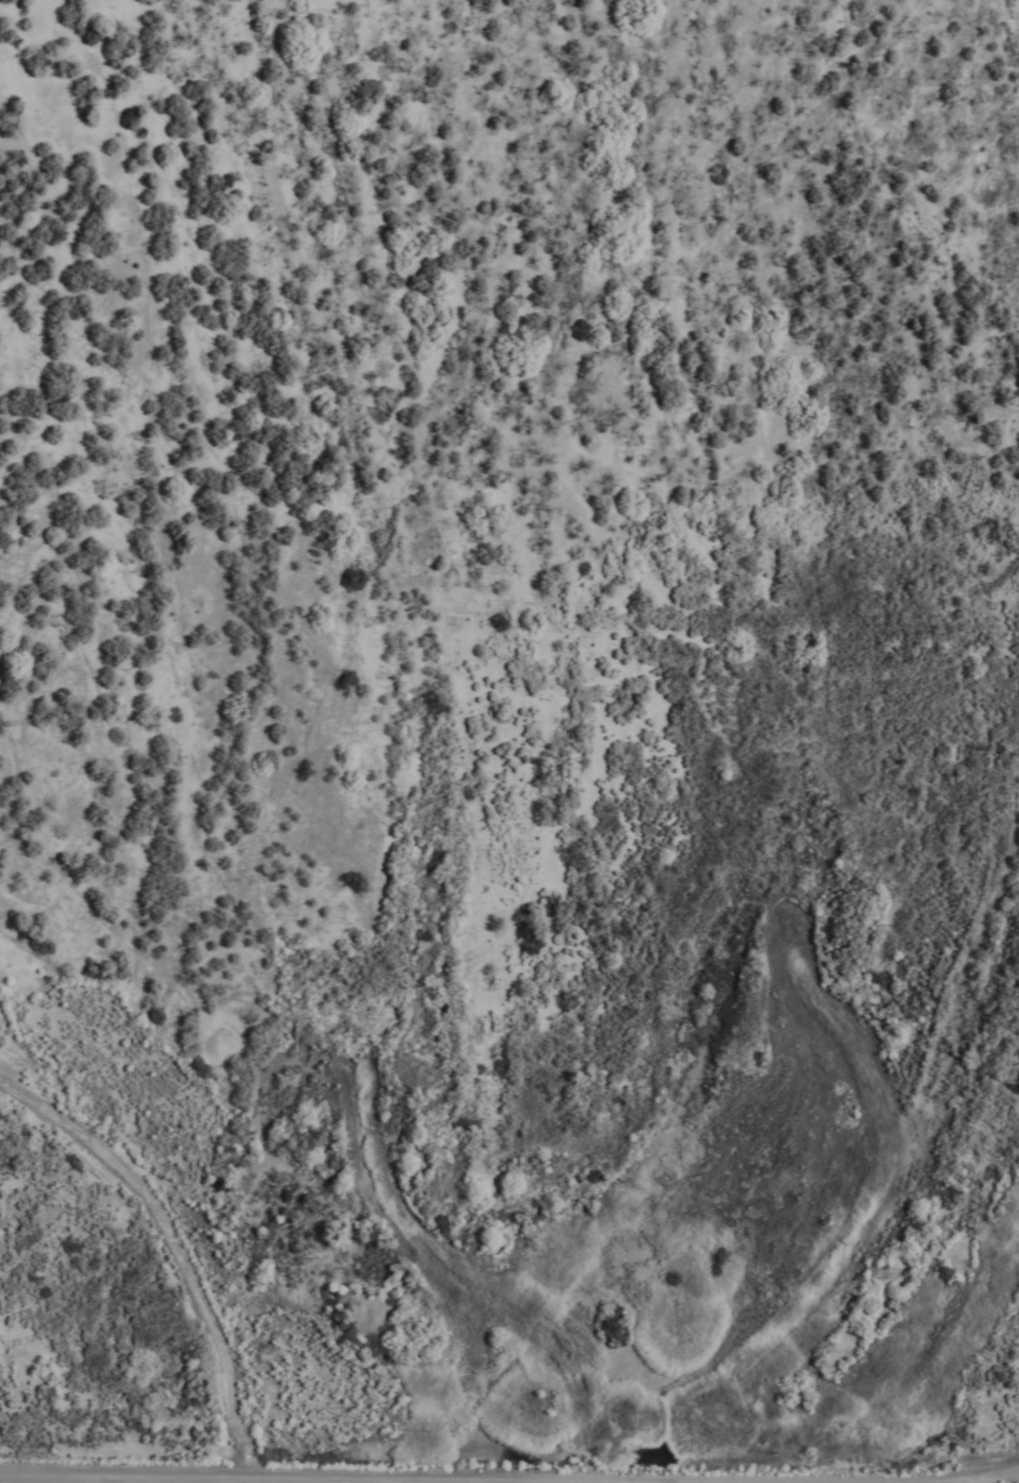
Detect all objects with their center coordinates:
road: (763, 1465)
road: (139, 1479)

